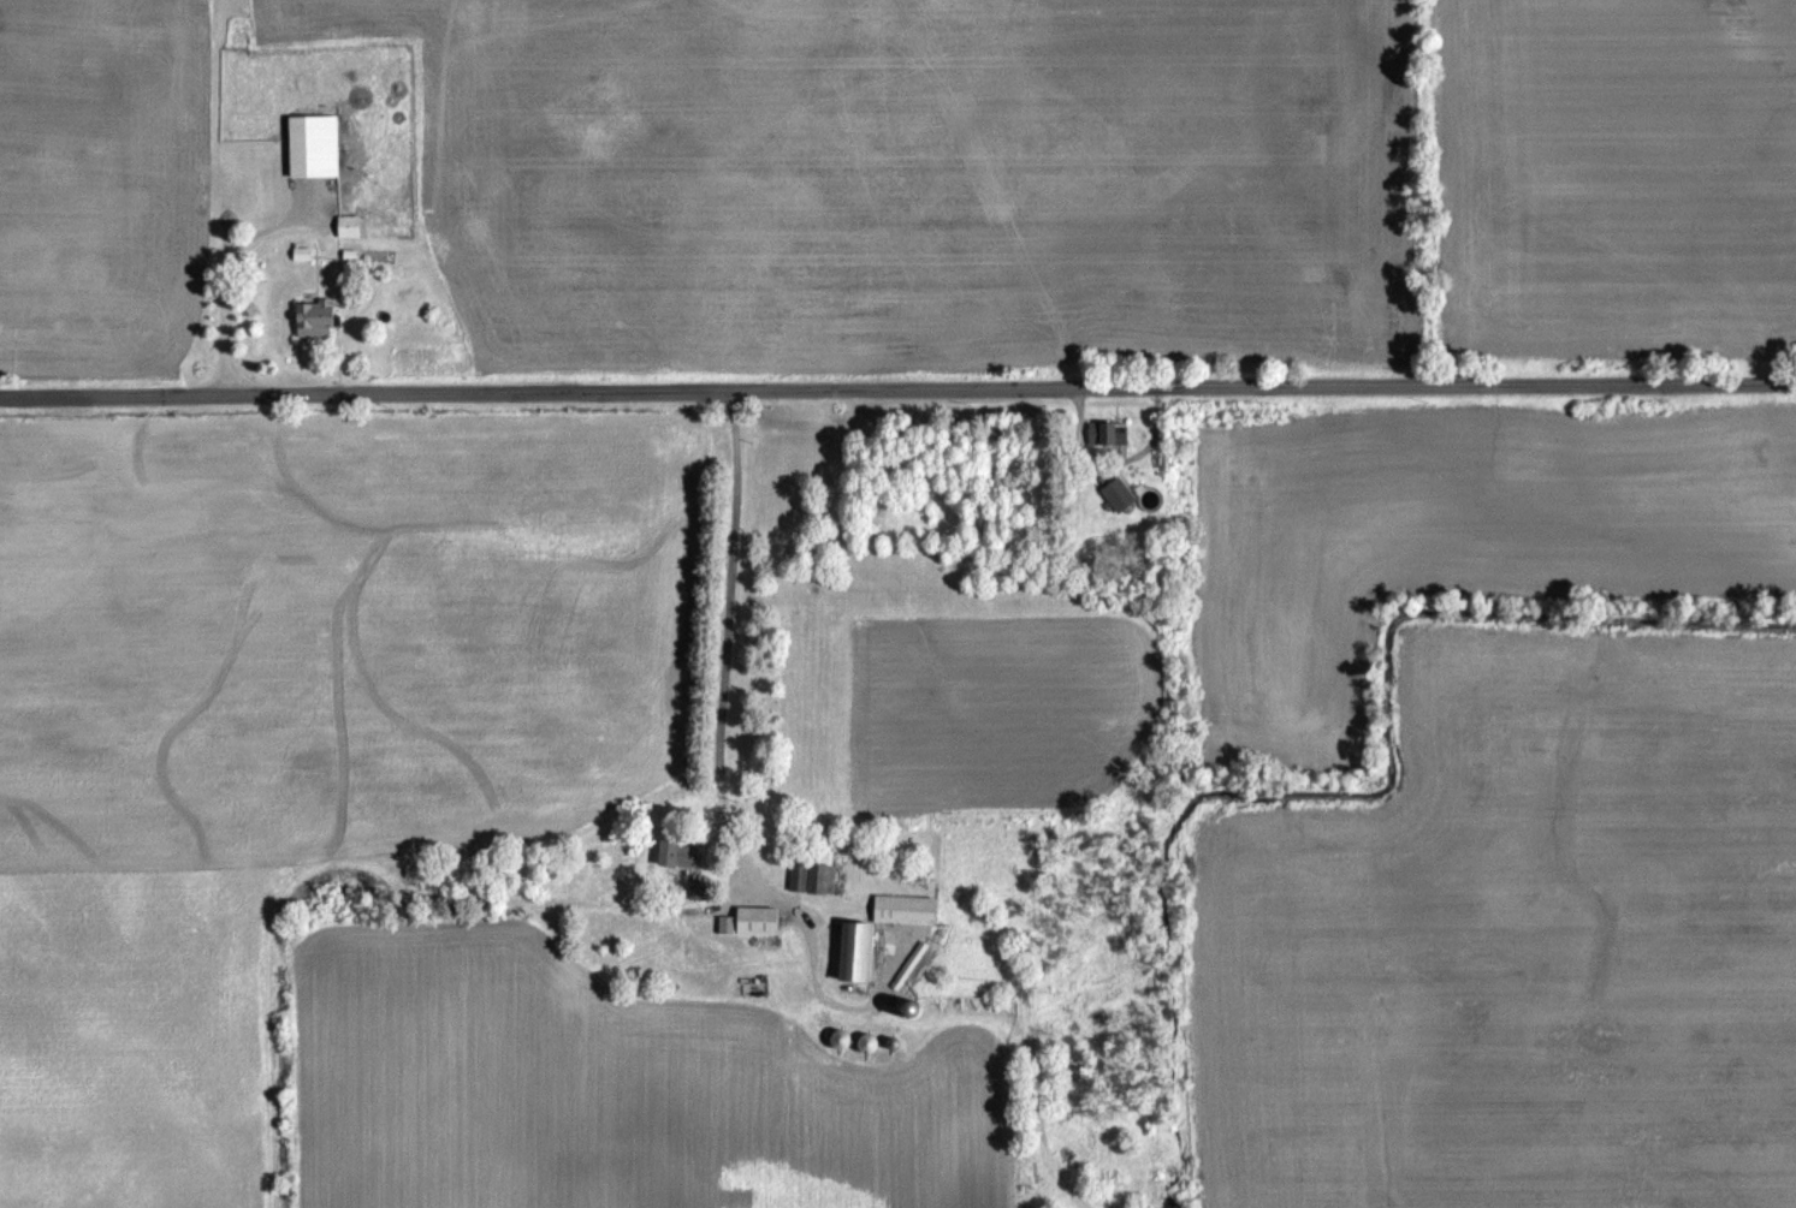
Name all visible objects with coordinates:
building: (313, 144)
building: (348, 225)
building: (405, 272)
road: (230, 280)
building: (315, 317)
road: (897, 385)
building: (1116, 494)
road: (740, 583)
building: (678, 852)
building: (816, 864)
building: (757, 920)
building: (856, 951)

